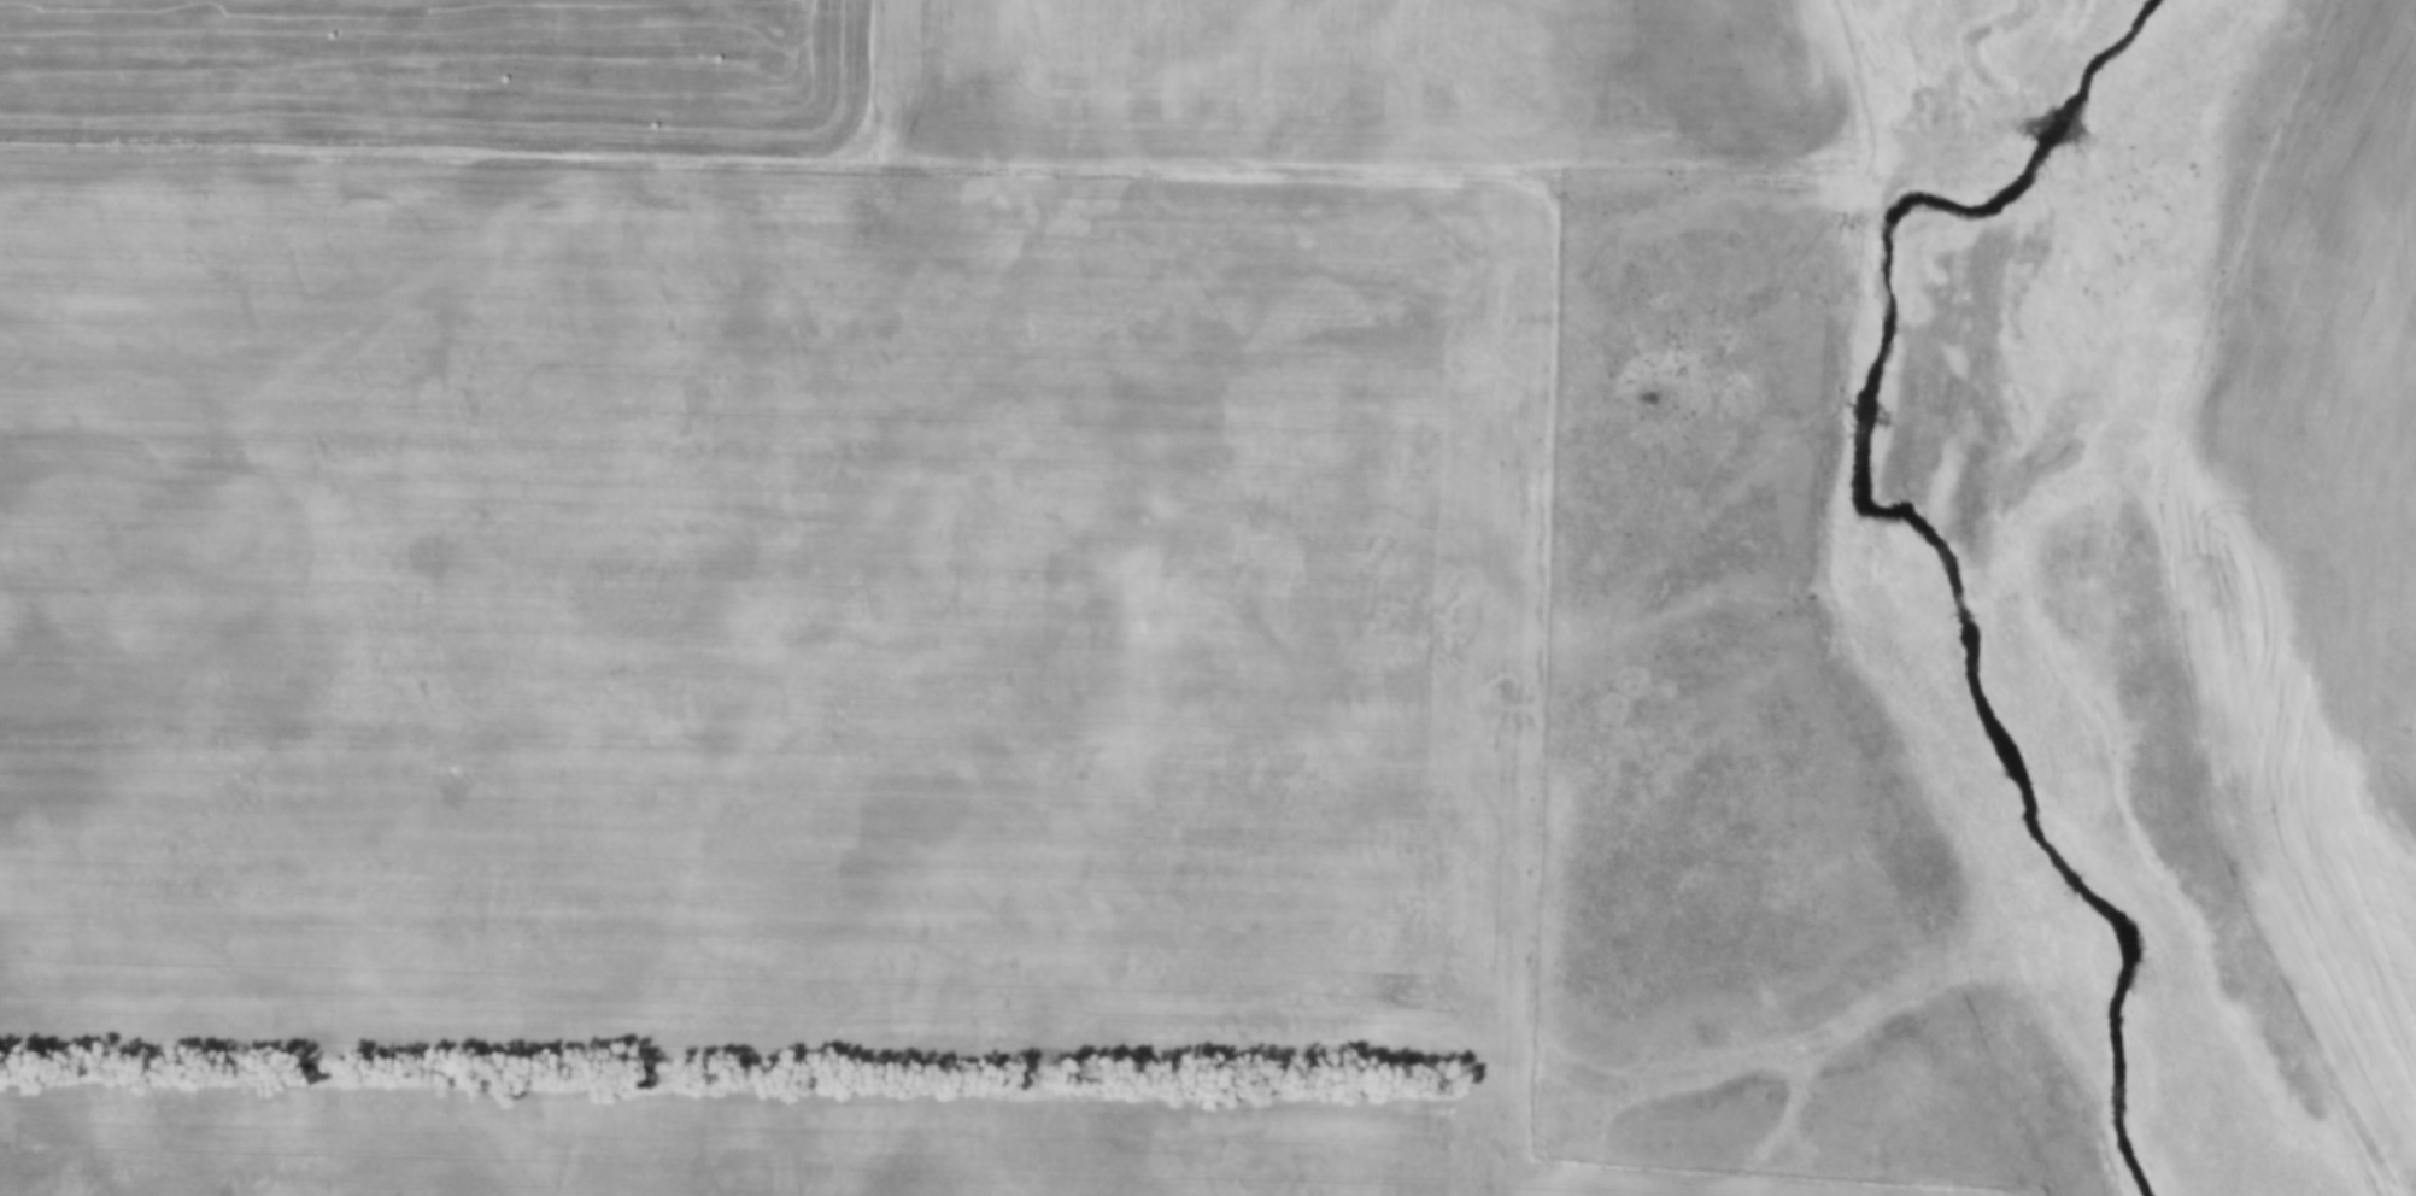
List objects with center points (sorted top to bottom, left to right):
road: (440, 152)

